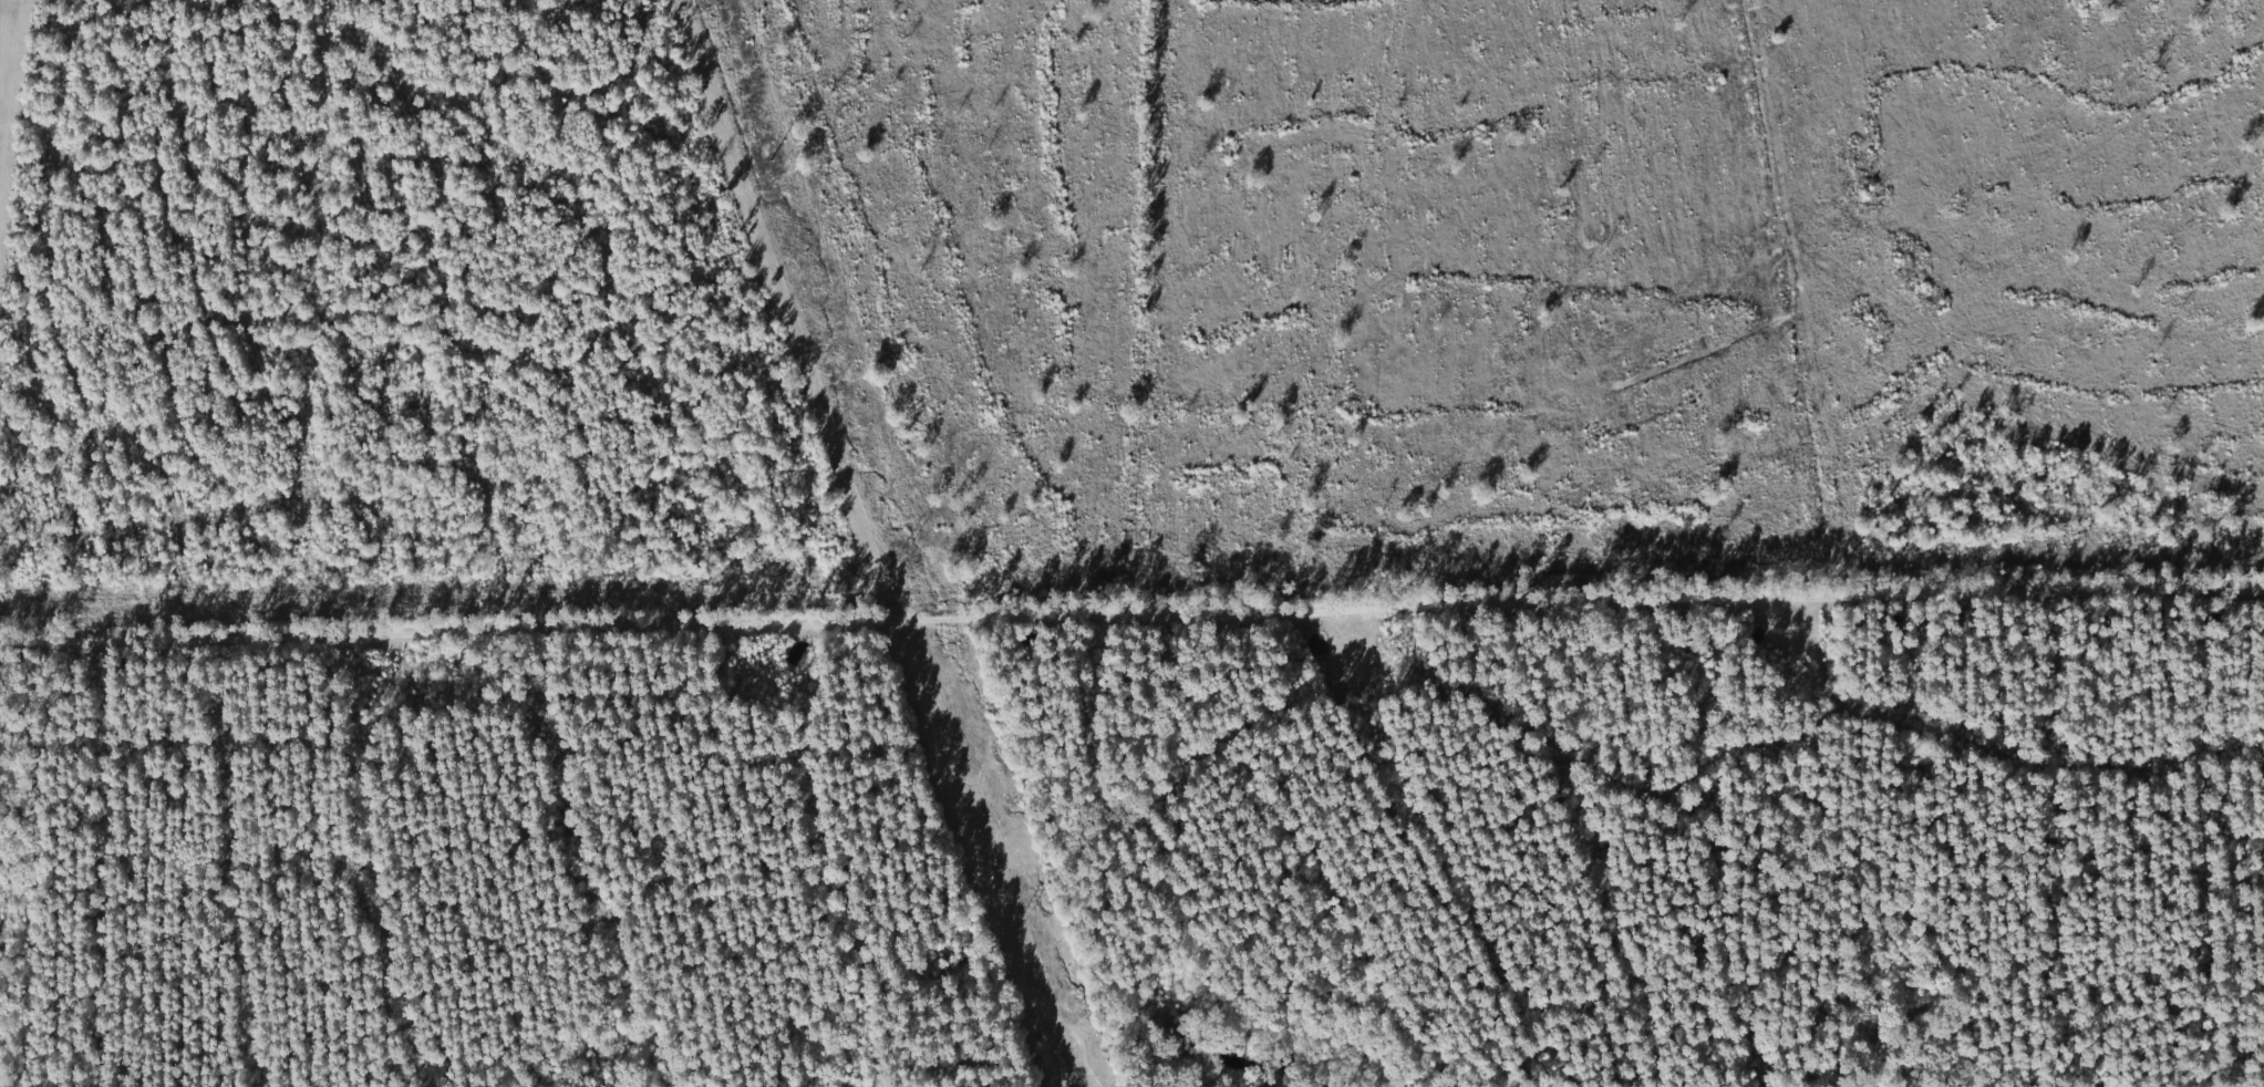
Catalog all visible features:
power tower: (771, 163)
road: (778, 313)
power tower: (906, 551)
road: (1133, 604)
power tower: (1031, 910)

